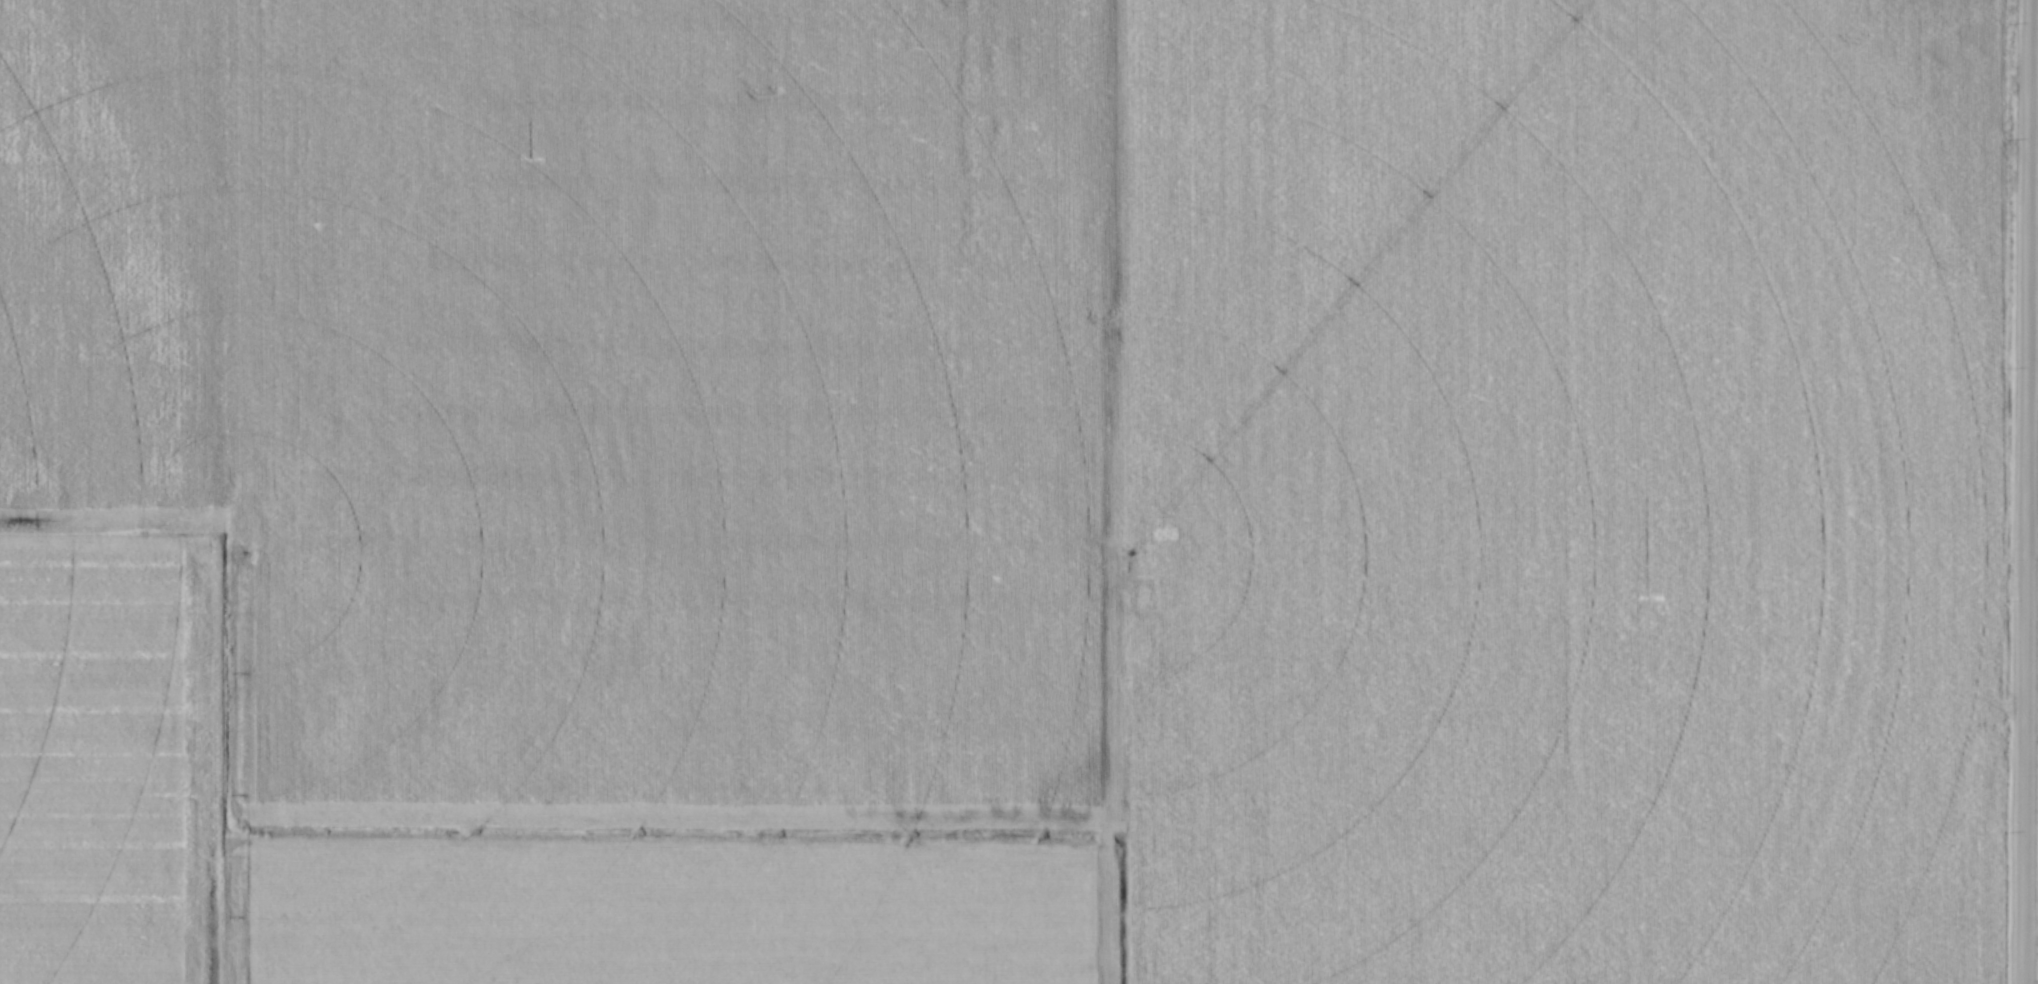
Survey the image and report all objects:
crop: (1000, 491)
road: (2022, 491)
road: (2030, 540)

